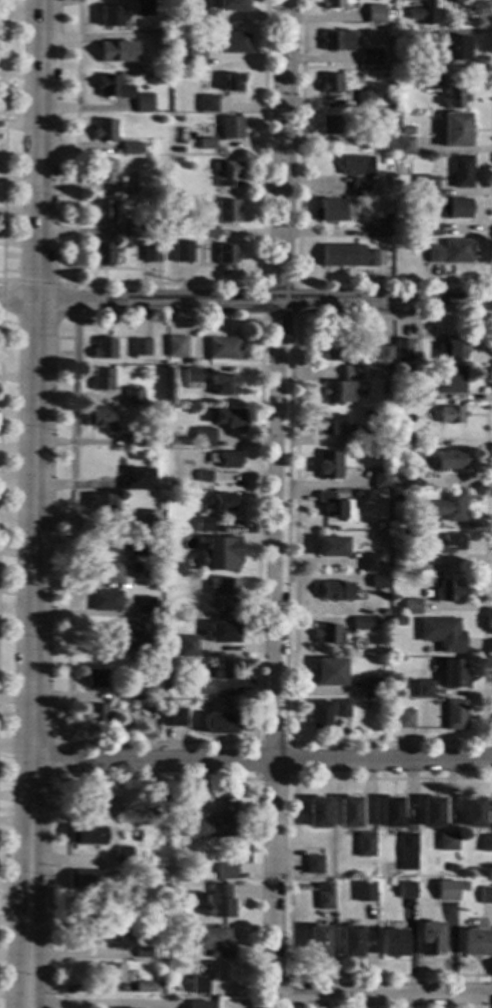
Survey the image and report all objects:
building: (415, 0)
building: (334, 4)
building: (232, 5)
building: (142, 8)
building: (375, 14)
building: (425, 14)
building: (110, 16)
building: (204, 18)
building: (162, 40)
building: (337, 41)
building: (230, 43)
building: (453, 48)
building: (117, 52)
building: (165, 55)
building: (370, 57)
building: (195, 59)
building: (431, 82)
building: (233, 83)
building: (331, 83)
building: (113, 88)
building: (454, 99)
building: (364, 100)
building: (143, 103)
building: (208, 104)
building: (331, 125)
building: (232, 128)
building: (105, 130)
building: (455, 130)
building: (407, 131)
road: (3, 140)
building: (372, 141)
building: (207, 144)
building: (405, 145)
building: (130, 149)
building: (179, 161)
building: (386, 161)
building: (105, 170)
building: (358, 171)
building: (462, 172)
building: (229, 174)
building: (428, 186)
building: (129, 188)
building: (453, 208)
building: (332, 210)
building: (104, 211)
building: (227, 211)
building: (432, 230)
building: (135, 231)
building: (380, 231)
building: (210, 233)
building: (183, 251)
building: (151, 252)
building: (450, 253)
building: (103, 254)
building: (226, 255)
building: (351, 256)
building: (195, 270)
road: (36, 282)
road: (392, 282)
road: (298, 283)
road: (165, 284)
road: (245, 300)
road: (488, 300)
road: (297, 320)
road: (72, 321)
road: (56, 346)
building: (141, 347)
building: (176, 347)
building: (104, 349)
building: (222, 350)
building: (403, 350)
building: (452, 350)
building: (335, 352)
building: (385, 353)
building: (408, 369)
building: (351, 373)
building: (191, 376)
building: (103, 380)
building: (450, 381)
building: (225, 385)
building: (338, 392)
building: (415, 396)
building: (134, 397)
building: (451, 415)
road: (36, 416)
building: (101, 419)
building: (228, 419)
building: (396, 419)
building: (331, 425)
building: (366, 435)
building: (204, 437)
building: (353, 439)
building: (144, 440)
building: (401, 443)
building: (138, 456)
building: (224, 460)
building: (448, 460)
building: (328, 465)
building: (204, 477)
building: (140, 479)
building: (381, 479)
building: (160, 488)
road: (277, 496)
building: (411, 500)
building: (106, 502)
building: (223, 503)
building: (448, 507)
building: (335, 508)
building: (149, 518)
building: (429, 524)
building: (205, 525)
building: (117, 544)
building: (447, 544)
building: (331, 547)
building: (141, 549)
building: (220, 554)
building: (427, 560)
building: (369, 563)
building: (136, 568)
building: (107, 573)
building: (379, 585)
building: (223, 587)
building: (335, 592)
building: (448, 592)
building: (107, 601)
building: (147, 606)
building: (227, 606)
building: (411, 607)
building: (384, 612)
building: (398, 622)
building: (361, 623)
building: (222, 633)
building: (442, 634)
building: (328, 635)
building: (136, 640)
building: (187, 646)
building: (226, 671)
building: (330, 672)
building: (454, 674)
building: (98, 679)
building: (167, 684)
building: (202, 687)
building: (373, 688)
building: (423, 690)
building: (136, 693)
building: (148, 696)
building: (155, 706)
building: (341, 709)
building: (98, 714)
building: (454, 715)
building: (320, 716)
building: (174, 718)
building: (404, 719)
road: (10, 722)
building: (220, 724)
road: (290, 742)
road: (487, 742)
road: (66, 761)
road: (261, 763)
road: (33, 780)
road: (65, 800)
building: (101, 804)
building: (159, 806)
building: (318, 813)
building: (349, 813)
building: (390, 813)
building: (431, 813)
building: (473, 813)
building: (213, 821)
building: (87, 836)
building: (407, 842)
building: (446, 842)
building: (486, 844)
building: (365, 845)
building: (123, 856)
building: (313, 862)
building: (225, 870)
road: (288, 878)
building: (86, 881)
building: (318, 887)
building: (365, 890)
building: (407, 890)
building: (447, 891)
building: (486, 895)
building: (325, 898)
building: (219, 901)
building: (113, 911)
road: (18, 919)
road: (39, 919)
building: (115, 939)
building: (430, 940)
building: (214, 942)
building: (318, 942)
building: (350, 942)
building: (476, 943)
building: (392, 944)
building: (144, 953)
road: (251, 968)
building: (223, 973)
building: (114, 974)
building: (199, 986)
building: (143, 987)
road: (288, 991)
road: (382, 995)
building: (162, 1003)
building: (198, 1004)

